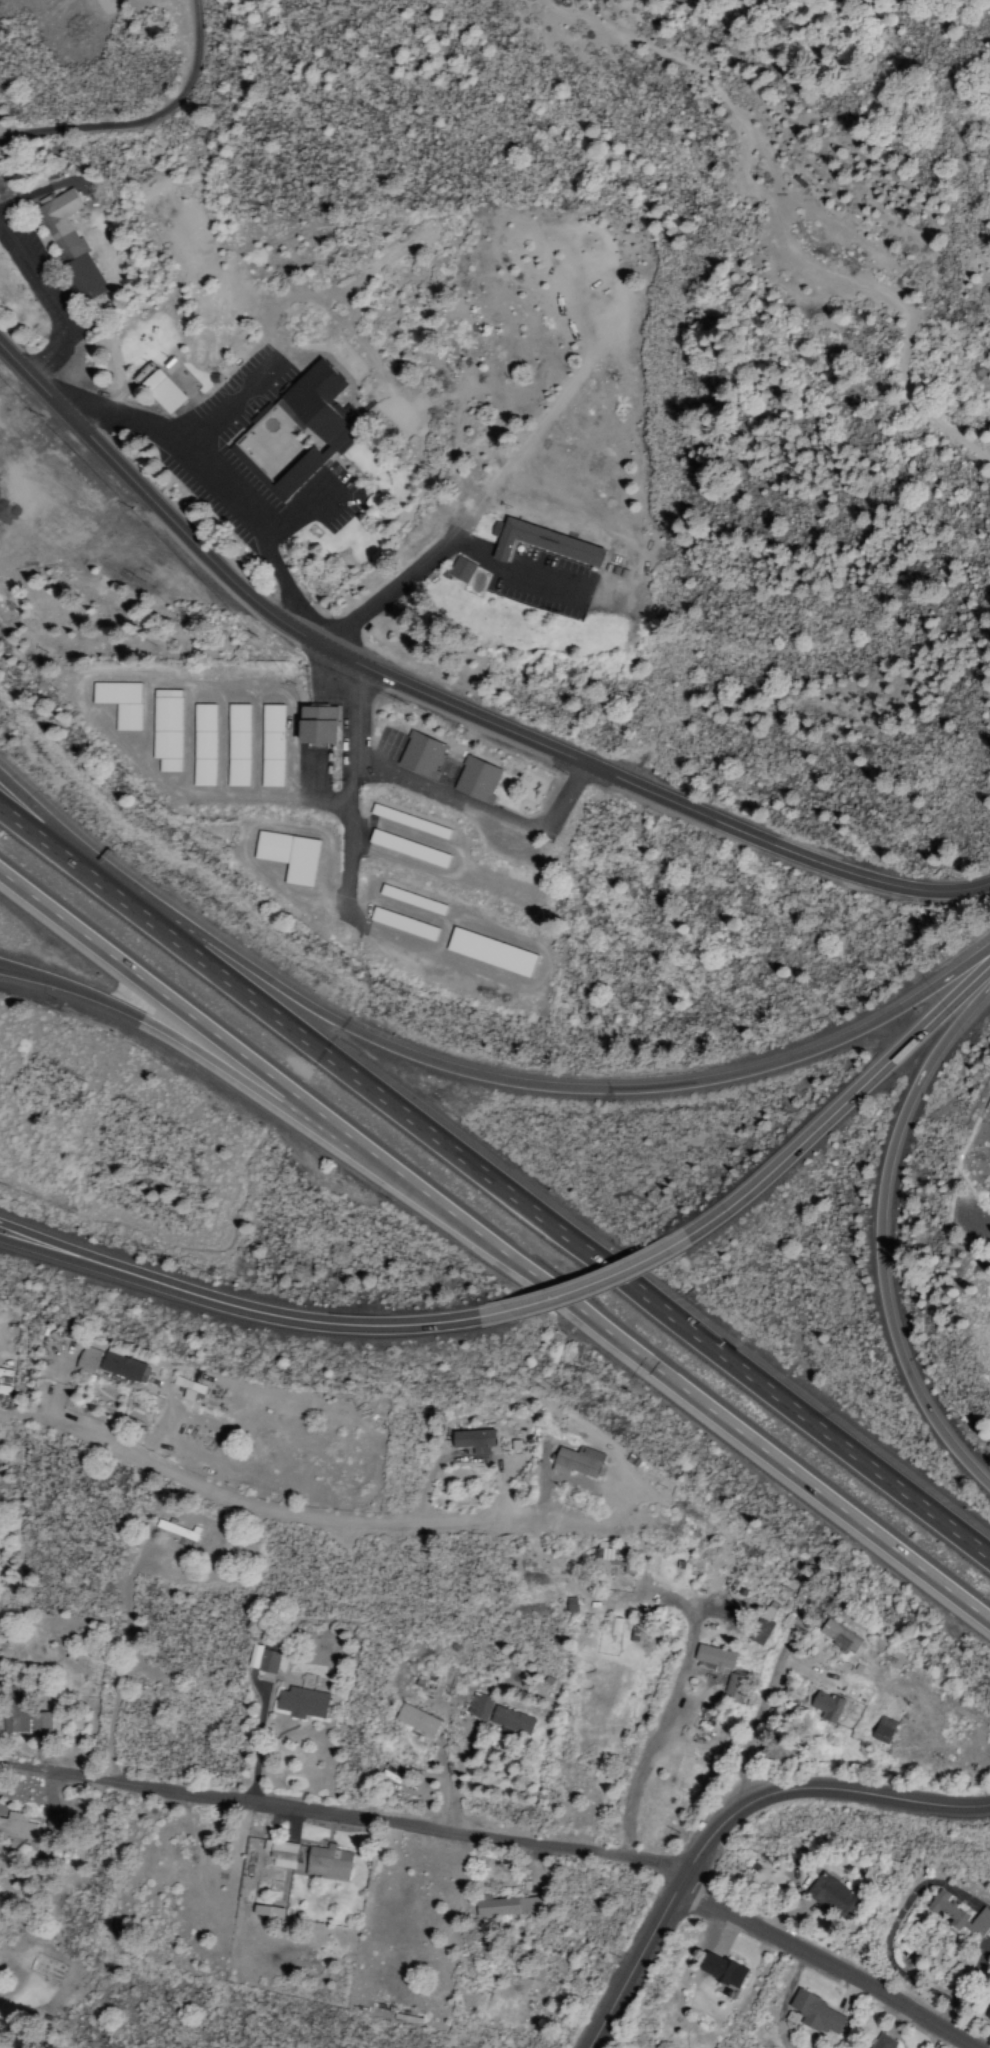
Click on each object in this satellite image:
building: (70, 244)
building: (166, 386)
building: (295, 433)
building: (547, 542)
road: (405, 575)
building: (471, 575)
road: (539, 580)
parking lot: (543, 580)
building: (120, 703)
road: (447, 703)
building: (317, 724)
building: (167, 730)
building: (204, 746)
building: (238, 746)
building: (272, 746)
building: (421, 756)
building: (477, 781)
road: (42, 820)
road: (37, 839)
building: (408, 849)
building: (289, 856)
building: (490, 953)
road: (26, 973)
road: (221, 1033)
road: (225, 1066)
road: (595, 1086)
road: (833, 1120)
road: (534, 1207)
road: (889, 1235)
road: (137, 1268)
road: (136, 1280)
road: (589, 1290)
road: (392, 1326)
building: (87, 1360)
building: (123, 1368)
building: (189, 1388)
road: (713, 1408)
building: (474, 1441)
building: (577, 1462)
building: (176, 1530)
building: (611, 1559)
building: (762, 1627)
building: (840, 1638)
building: (715, 1658)
building: (263, 1659)
building: (734, 1689)
building: (302, 1703)
building: (827, 1707)
road: (670, 1709)
building: (417, 1720)
building: (25, 1721)
road: (453, 1721)
building: (511, 1722)
road: (758, 1730)
building: (883, 1731)
building: (1, 1812)
road: (347, 1814)
road: (731, 1818)
building: (17, 1827)
building: (281, 1854)
building: (328, 1863)
building: (832, 1895)
building: (506, 1907)
building: (261, 1910)
building: (959, 1915)
road: (835, 1962)
building: (722, 1970)
building: (818, 2014)
building: (988, 2015)
building: (883, 2042)

